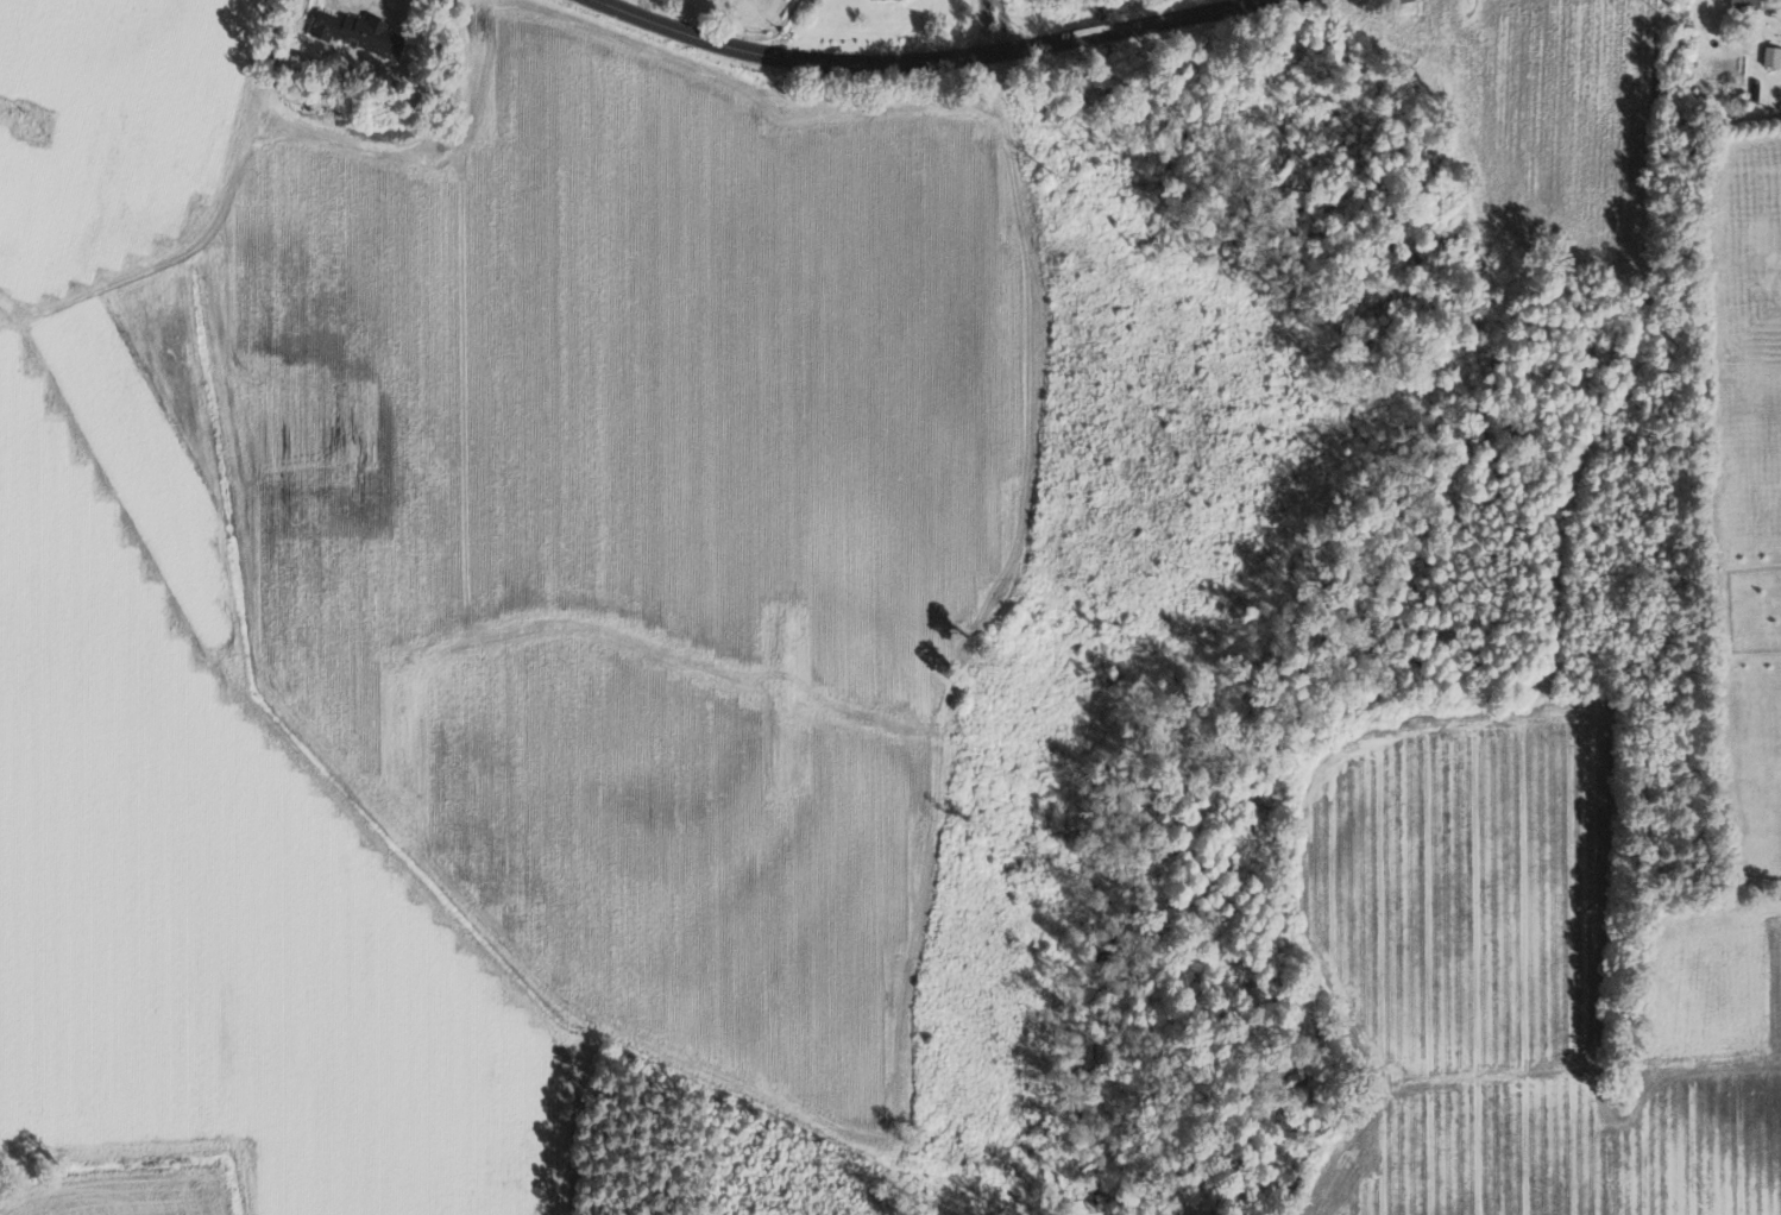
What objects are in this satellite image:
building: (1741, 4)
building: (1398, 5)
road: (291, 17)
road: (992, 27)
building: (353, 32)
building: (1770, 56)
road: (933, 63)

